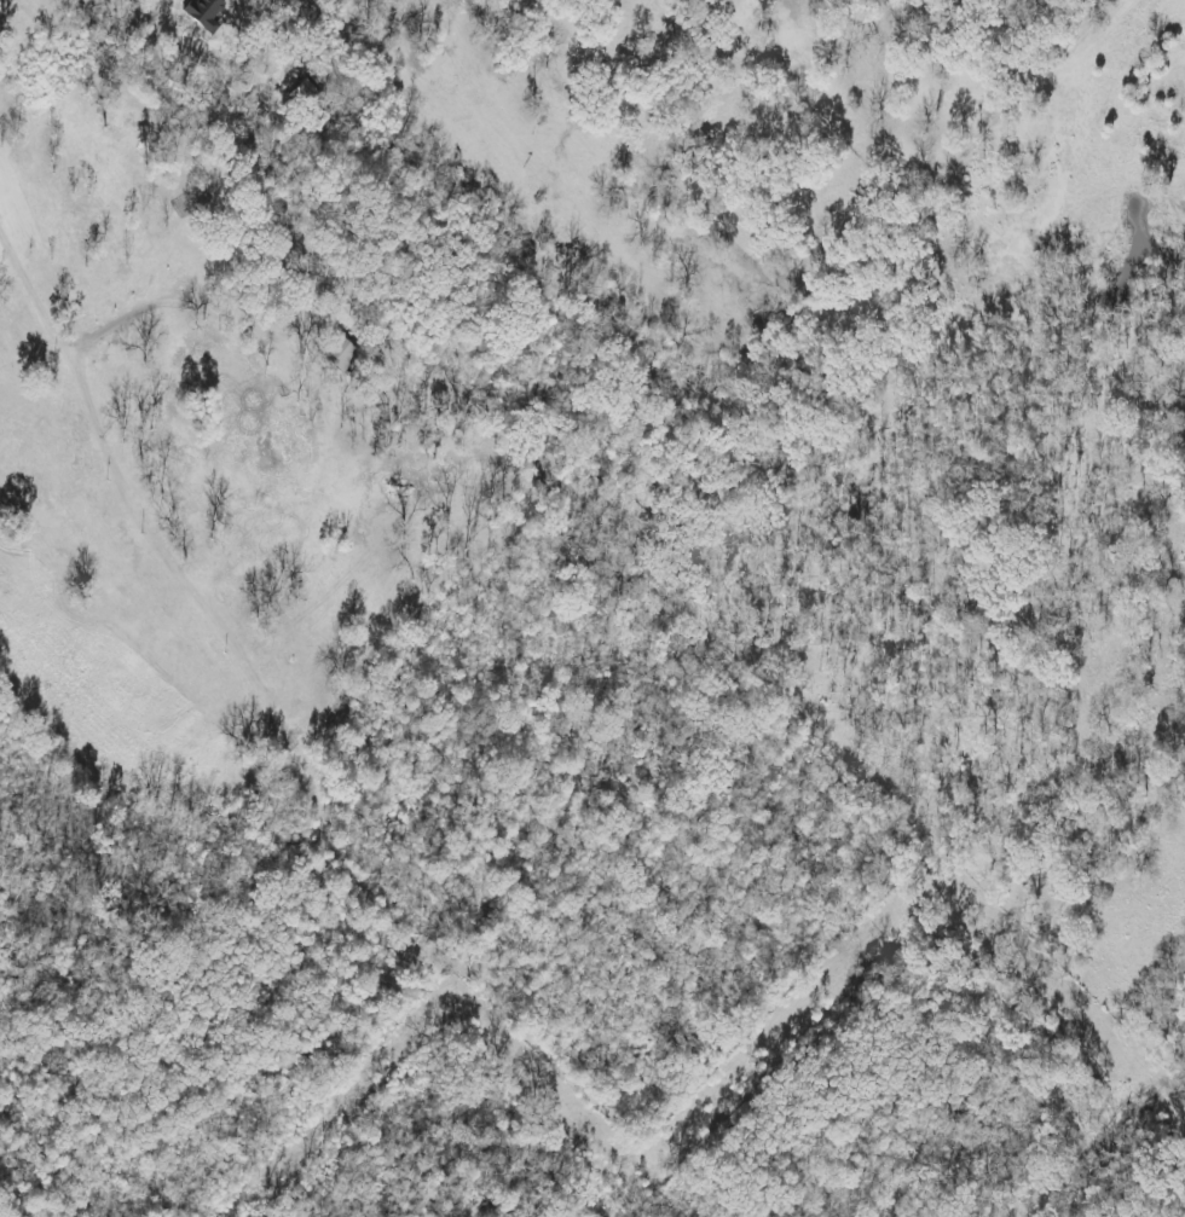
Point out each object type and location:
road: (140, 517)

